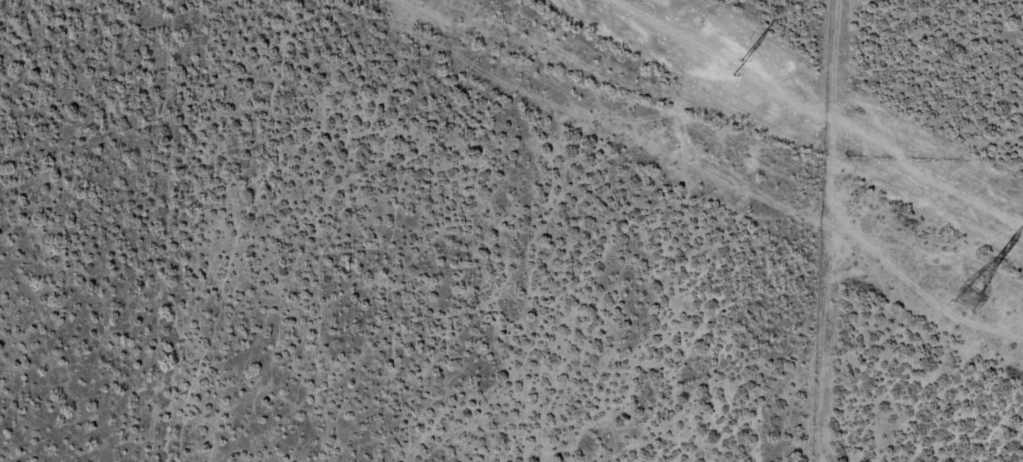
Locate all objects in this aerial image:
power tower: (957, 298)

